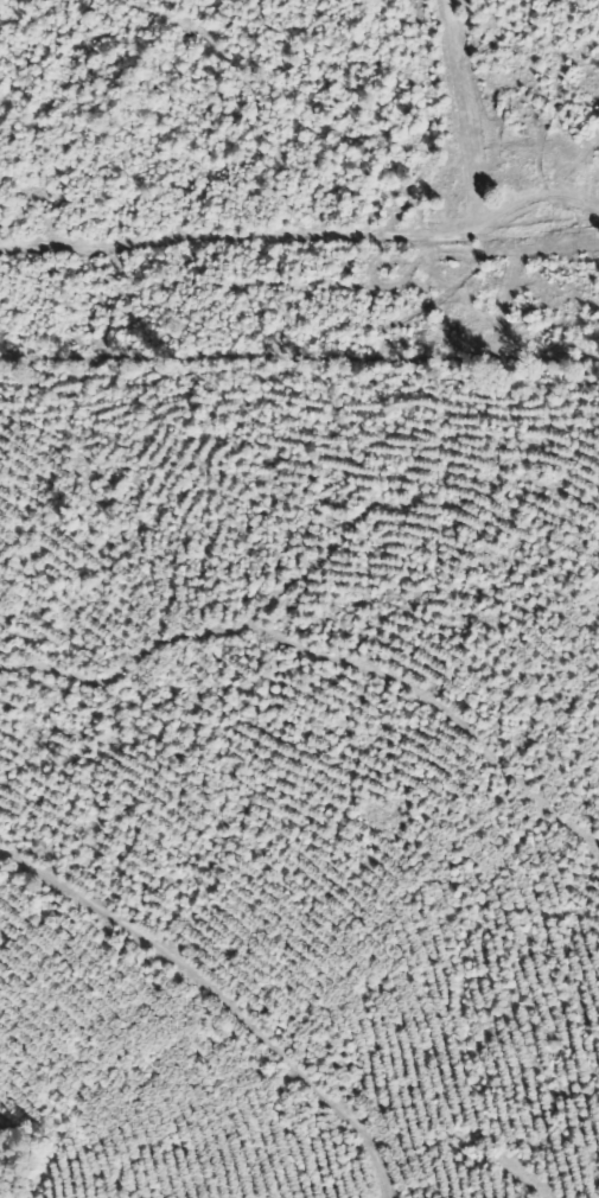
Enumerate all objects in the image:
road: (222, 996)

